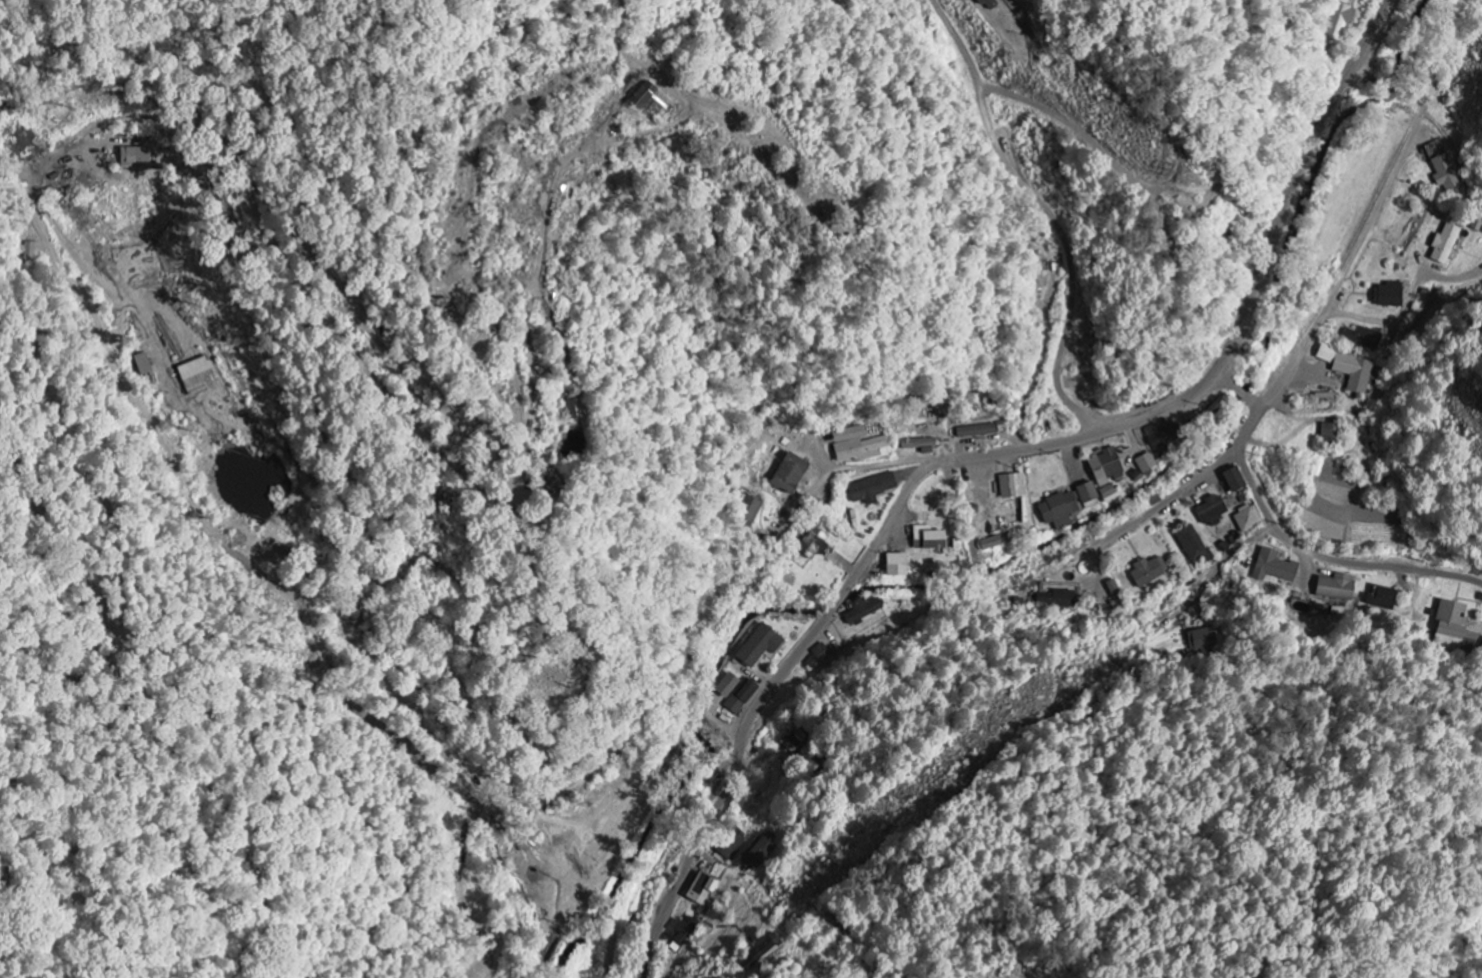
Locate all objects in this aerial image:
building: (988, 4)
building: (1340, 19)
building: (650, 98)
road: (1066, 123)
building: (134, 158)
building: (1445, 174)
road: (1048, 212)
building: (1444, 245)
road: (1340, 284)
building: (1387, 296)
building: (1363, 338)
building: (141, 365)
building: (1351, 370)
building: (194, 376)
road: (1241, 393)
building: (976, 431)
building: (1326, 433)
building: (1159, 440)
building: (918, 444)
building: (857, 446)
road: (991, 454)
building: (1104, 466)
building: (1144, 467)
building: (787, 473)
building: (1232, 480)
building: (1012, 486)
building: (872, 489)
building: (1111, 494)
building: (1087, 496)
road: (1167, 498)
building: (1058, 511)
building: (1210, 511)
building: (747, 513)
building: (1247, 519)
building: (927, 539)
building: (992, 543)
building: (813, 544)
building: (1192, 545)
road: (1239, 546)
road: (1316, 554)
building: (895, 565)
building: (1273, 567)
building: (1149, 572)
building: (1335, 587)
building: (1383, 598)
building: (1056, 600)
building: (1451, 620)
building: (1206, 641)
building: (760, 647)
building: (1481, 652)
building: (726, 686)
road: (658, 697)
building: (740, 698)
building: (730, 847)
building: (759, 853)
building: (702, 891)
building: (681, 930)
building: (761, 951)

